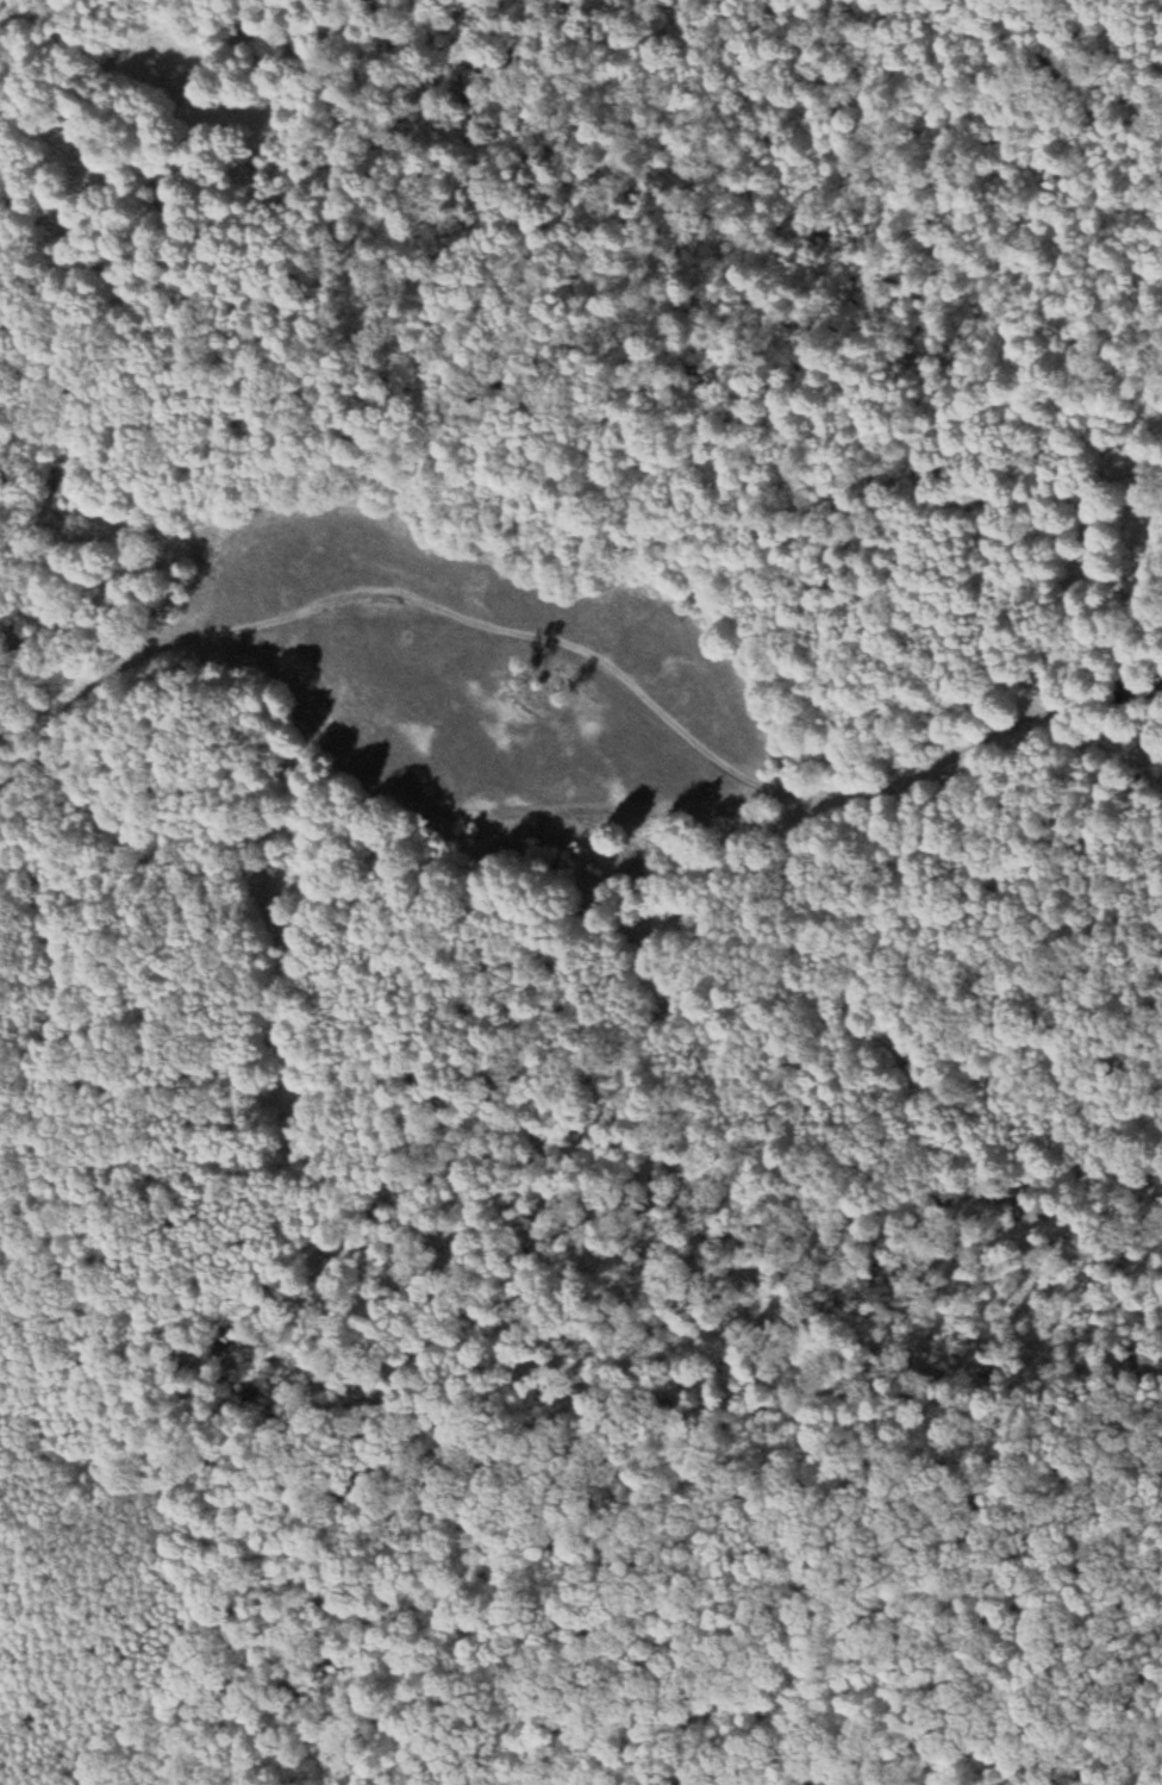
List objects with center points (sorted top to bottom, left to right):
road: (580, 657)
road: (569, 1415)

